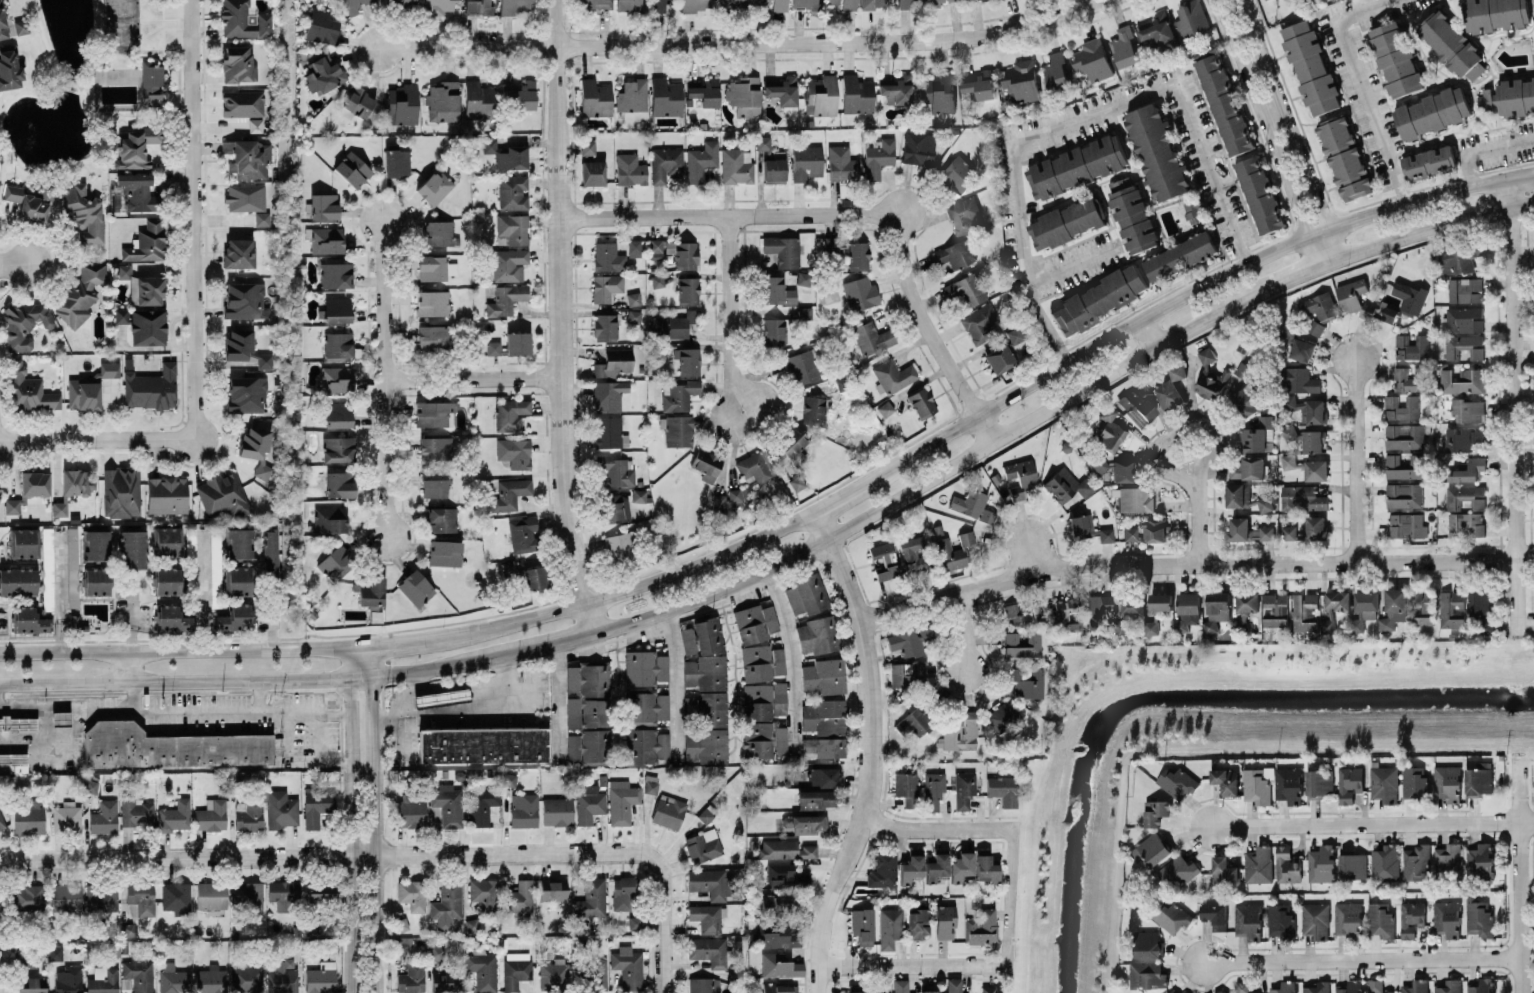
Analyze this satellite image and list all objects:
building: (983, 0)
building: (403, 1)
building: (938, 2)
building: (736, 3)
building: (594, 4)
building: (775, 4)
building: (804, 4)
building: (844, 4)
building: (872, 4)
building: (910, 4)
building: (353, 5)
building: (628, 5)
building: (661, 5)
building: (697, 5)
building: (437, 6)
building: (514, 6)
building: (478, 7)
building: (1495, 14)
building: (1191, 19)
building: (243, 20)
building: (3, 23)
building: (21, 26)
building: (322, 27)
building: (1158, 31)
road: (738, 42)
building: (1451, 44)
building: (1124, 47)
building: (1395, 57)
building: (1092, 59)
building: (238, 64)
building: (1310, 66)
building: (9, 68)
building: (1056, 72)
building: (323, 74)
building: (1021, 81)
road: (1359, 83)
building: (152, 84)
building: (979, 84)
park: (90, 86)
building: (897, 89)
building: (705, 91)
building: (783, 91)
building: (938, 93)
building: (519, 94)
building: (857, 94)
building: (632, 95)
building: (744, 95)
building: (821, 95)
building: (665, 97)
building: (1509, 97)
building: (595, 98)
building: (477, 100)
building: (358, 101)
building: (444, 101)
building: (1224, 101)
building: (402, 102)
building: (242, 103)
building: (1432, 111)
road: (1071, 121)
building: (255, 125)
road: (1283, 128)
building: (763, 142)
building: (136, 147)
building: (588, 147)
building: (919, 148)
road: (1485, 149)
building: (1156, 151)
building: (509, 155)
building: (1344, 157)
building: (247, 158)
building: (878, 158)
building: (701, 161)
building: (397, 162)
building: (806, 162)
building: (1429, 162)
building: (665, 163)
building: (841, 164)
building: (737, 166)
building: (1077, 166)
building: (352, 169)
building: (630, 169)
building: (774, 170)
building: (592, 173)
building: (958, 173)
building: (435, 187)
building: (138, 192)
building: (513, 192)
building: (12, 193)
building: (1260, 193)
building: (245, 197)
building: (36, 205)
building: (324, 205)
building: (1193, 210)
building: (963, 214)
building: (1132, 214)
road: (731, 215)
building: (84, 216)
building: (262, 218)
road: (191, 219)
building: (1066, 222)
building: (513, 228)
road: (1430, 228)
building: (440, 233)
building: (327, 240)
building: (146, 242)
building: (832, 243)
building: (634, 248)
building: (783, 250)
building: (238, 252)
building: (677, 252)
building: (955, 254)
building: (858, 255)
building: (1180, 255)
building: (608, 257)
building: (1458, 259)
road: (1072, 263)
building: (509, 264)
road: (14, 265)
building: (435, 268)
building: (124, 271)
road: (1295, 274)
building: (336, 275)
building: (803, 278)
building: (656, 281)
building: (606, 287)
building: (966, 289)
building: (1464, 289)
building: (147, 290)
building: (688, 290)
building: (777, 291)
building: (80, 293)
building: (860, 293)
building: (1351, 294)
building: (1409, 296)
building: (633, 298)
building: (506, 299)
building: (1099, 299)
building: (245, 300)
building: (432, 302)
building: (1318, 305)
building: (337, 309)
road: (736, 312)
building: (1389, 313)
building: (121, 315)
building: (634, 316)
road: (558, 318)
building: (1462, 319)
building: (24, 323)
building: (980, 323)
building: (672, 325)
building: (147, 327)
building: (605, 327)
building: (1316, 327)
building: (1287, 329)
building: (773, 330)
road: (933, 330)
road: (1150, 330)
building: (1013, 335)
building: (433, 337)
building: (872, 338)
building: (518, 343)
building: (338, 345)
building: (1463, 345)
building: (1411, 346)
building: (493, 347)
building: (244, 348)
building: (1301, 349)
building: (1017, 350)
building: (999, 358)
building: (688, 360)
building: (614, 362)
building: (803, 366)
building: (1244, 370)
building: (894, 375)
road: (387, 377)
road: (473, 377)
building: (1210, 377)
building: (1408, 378)
building: (337, 379)
building: (1298, 379)
building: (1463, 380)
building: (90, 387)
building: (150, 387)
building: (1171, 388)
building: (29, 390)
building: (246, 394)
building: (609, 395)
building: (679, 395)
building: (1244, 398)
building: (922, 402)
road: (1512, 403)
building: (1139, 405)
building: (1401, 406)
building: (813, 408)
building: (885, 408)
building: (1307, 408)
building: (1467, 409)
building: (338, 414)
building: (434, 414)
building: (510, 414)
building: (679, 430)
building: (1109, 431)
building: (1288, 431)
building: (609, 432)
road: (1181, 432)
building: (1257, 434)
building: (1405, 435)
road: (96, 438)
building: (1462, 438)
building: (1313, 440)
building: (793, 444)
building: (256, 447)
building: (338, 449)
building: (434, 449)
building: (514, 452)
road: (1359, 457)
building: (1099, 463)
building: (706, 464)
building: (1404, 466)
building: (756, 468)
building: (1248, 468)
building: (1470, 468)
building: (1316, 469)
building: (615, 470)
building: (1121, 471)
road: (935, 476)
building: (1020, 477)
building: (77, 481)
building: (34, 483)
building: (797, 483)
building: (339, 484)
building: (434, 485)
building: (1067, 485)
building: (0, 490)
building: (121, 492)
building: (510, 493)
building: (167, 494)
building: (735, 494)
building: (1404, 494)
building: (222, 495)
building: (638, 495)
building: (1239, 495)
building: (1465, 496)
building: (1302, 497)
building: (1134, 499)
building: (719, 501)
building: (1264, 503)
building: (973, 505)
building: (12, 506)
building: (59, 508)
building: (616, 508)
road: (797, 515)
building: (330, 519)
building: (442, 519)
building: (1465, 522)
road: (1195, 523)
building: (1407, 524)
building: (1088, 528)
building: (1147, 529)
building: (1247, 529)
building: (522, 534)
building: (966, 537)
building: (166, 541)
building: (23, 542)
building: (238, 543)
building: (96, 544)
building: (191, 544)
building: (620, 548)
building: (132, 549)
building: (269, 551)
building: (445, 553)
building: (914, 553)
road: (1036, 553)
building: (949, 555)
building: (884, 561)
road: (1194, 562)
building: (334, 563)
building: (72, 567)
building: (47, 569)
building: (534, 578)
building: (237, 580)
building: (18, 581)
building: (96, 581)
building: (168, 581)
road: (204, 587)
building: (415, 588)
building: (370, 590)
building: (807, 594)
road: (59, 598)
building: (1160, 600)
building: (1480, 600)
building: (1247, 601)
building: (1132, 604)
building: (1097, 605)
building: (1422, 607)
building: (1451, 607)
building: (1363, 608)
building: (1393, 608)
building: (1217, 609)
building: (1275, 609)
building: (1333, 609)
building: (1187, 611)
building: (1304, 611)
building: (1018, 615)
building: (1066, 615)
building: (235, 617)
road: (131, 619)
building: (171, 619)
building: (29, 620)
building: (755, 623)
building: (1486, 623)
building: (1125, 626)
building: (1150, 627)
road: (967, 630)
building: (708, 635)
building: (817, 635)
building: (1011, 638)
building: (688, 640)
building: (910, 640)
road: (549, 646)
road: (791, 654)
building: (761, 663)
road: (130, 666)
road: (438, 667)
building: (645, 667)
building: (705, 672)
building: (907, 675)
building: (824, 676)
road: (360, 677)
road: (672, 677)
building: (589, 678)
road: (175, 680)
building: (1026, 681)
road: (419, 690)
road: (259, 693)
building: (441, 696)
road: (557, 698)
building: (762, 699)
building: (646, 707)
road: (232, 708)
building: (707, 708)
road: (462, 709)
building: (588, 712)
building: (824, 717)
building: (60, 718)
building: (1004, 719)
building: (18, 723)
building: (961, 732)
building: (758, 739)
building: (780, 739)
building: (484, 744)
building: (646, 745)
building: (706, 745)
building: (590, 746)
building: (824, 746)
building: (170, 747)
road: (874, 748)
building: (14, 761)
building: (824, 777)
building: (1478, 777)
building: (509, 779)
building: (1225, 779)
building: (1177, 781)
building: (1319, 781)
building: (1414, 781)
building: (1447, 781)
building: (1349, 782)
building: (1384, 782)
building: (651, 784)
building: (1258, 784)
building: (1288, 784)
building: (907, 788)
building: (964, 789)
building: (933, 790)
building: (1003, 790)
building: (815, 800)
building: (622, 801)
building: (589, 803)
building: (448, 804)
building: (481, 804)
building: (316, 806)
building: (281, 809)
building: (411, 809)
building: (524, 810)
building: (557, 811)
building: (668, 811)
building: (1156, 811)
building: (135, 812)
building: (211, 815)
building: (248, 815)
building: (705, 815)
building: (175, 816)
building: (104, 817)
road: (374, 817)
building: (67, 818)
road: (350, 818)
road: (1372, 820)
building: (2, 823)
building: (805, 823)
road: (937, 830)
building: (703, 845)
building: (1152, 848)
building: (785, 849)
road: (554, 854)
road: (186, 855)
building: (1448, 858)
building: (1480, 860)
building: (1385, 861)
building: (1415, 862)
building: (1258, 863)
building: (1321, 863)
building: (1286, 865)
building: (1352, 865)
building: (961, 866)
building: (936, 867)
building: (911, 868)
building: (986, 869)
building: (1224, 869)
building: (883, 870)
building: (1176, 871)
building: (786, 876)
building: (709, 882)
road: (1519, 882)
building: (553, 889)
building: (283, 893)
building: (484, 893)
building: (622, 893)
building: (248, 894)
building: (322, 894)
building: (413, 894)
building: (211, 896)
building: (27, 897)
building: (66, 897)
building: (101, 897)
building: (142, 897)
building: (519, 897)
road: (1008, 897)
building: (176, 898)
building: (592, 898)
building: (447, 904)
building: (778, 905)
building: (1214, 914)
building: (1170, 915)
building: (1411, 917)
building: (1447, 917)
building: (707, 918)
building: (1347, 918)
building: (1380, 918)
building: (1479, 918)
building: (1315, 919)
building: (1248, 920)
building: (1280, 920)
building: (635, 922)
building: (917, 922)
building: (944, 922)
building: (401, 924)
building: (863, 925)
building: (890, 927)
building: (981, 927)
building: (128, 929)
building: (779, 936)
building: (1146, 943)
building: (401, 945)
building: (709, 950)
building: (55, 952)
building: (436, 952)
road: (1365, 958)
road: (660, 964)
road: (912, 964)
building: (779, 965)
building: (628, 968)
building: (482, 969)
building: (516, 969)
building: (554, 972)
building: (139, 973)
building: (598, 973)
building: (1147, 974)
building: (283, 977)
building: (247, 978)
building: (321, 978)
building: (412, 978)
building: (68, 979)
building: (173, 979)
building: (445, 979)
building: (103, 980)
building: (211, 980)
building: (32, 984)
building: (703, 985)
building: (900, 986)
building: (1350, 986)
building: (1377, 986)
building: (1416, 986)
building: (1449, 986)
building: (1482, 986)
building: (1284, 987)
building: (1317, 987)
building: (780, 988)
building: (873, 988)
building: (991, 989)
building: (930, 991)
building: (1172, 991)
building: (1219, 991)
building: (1183, 992)

